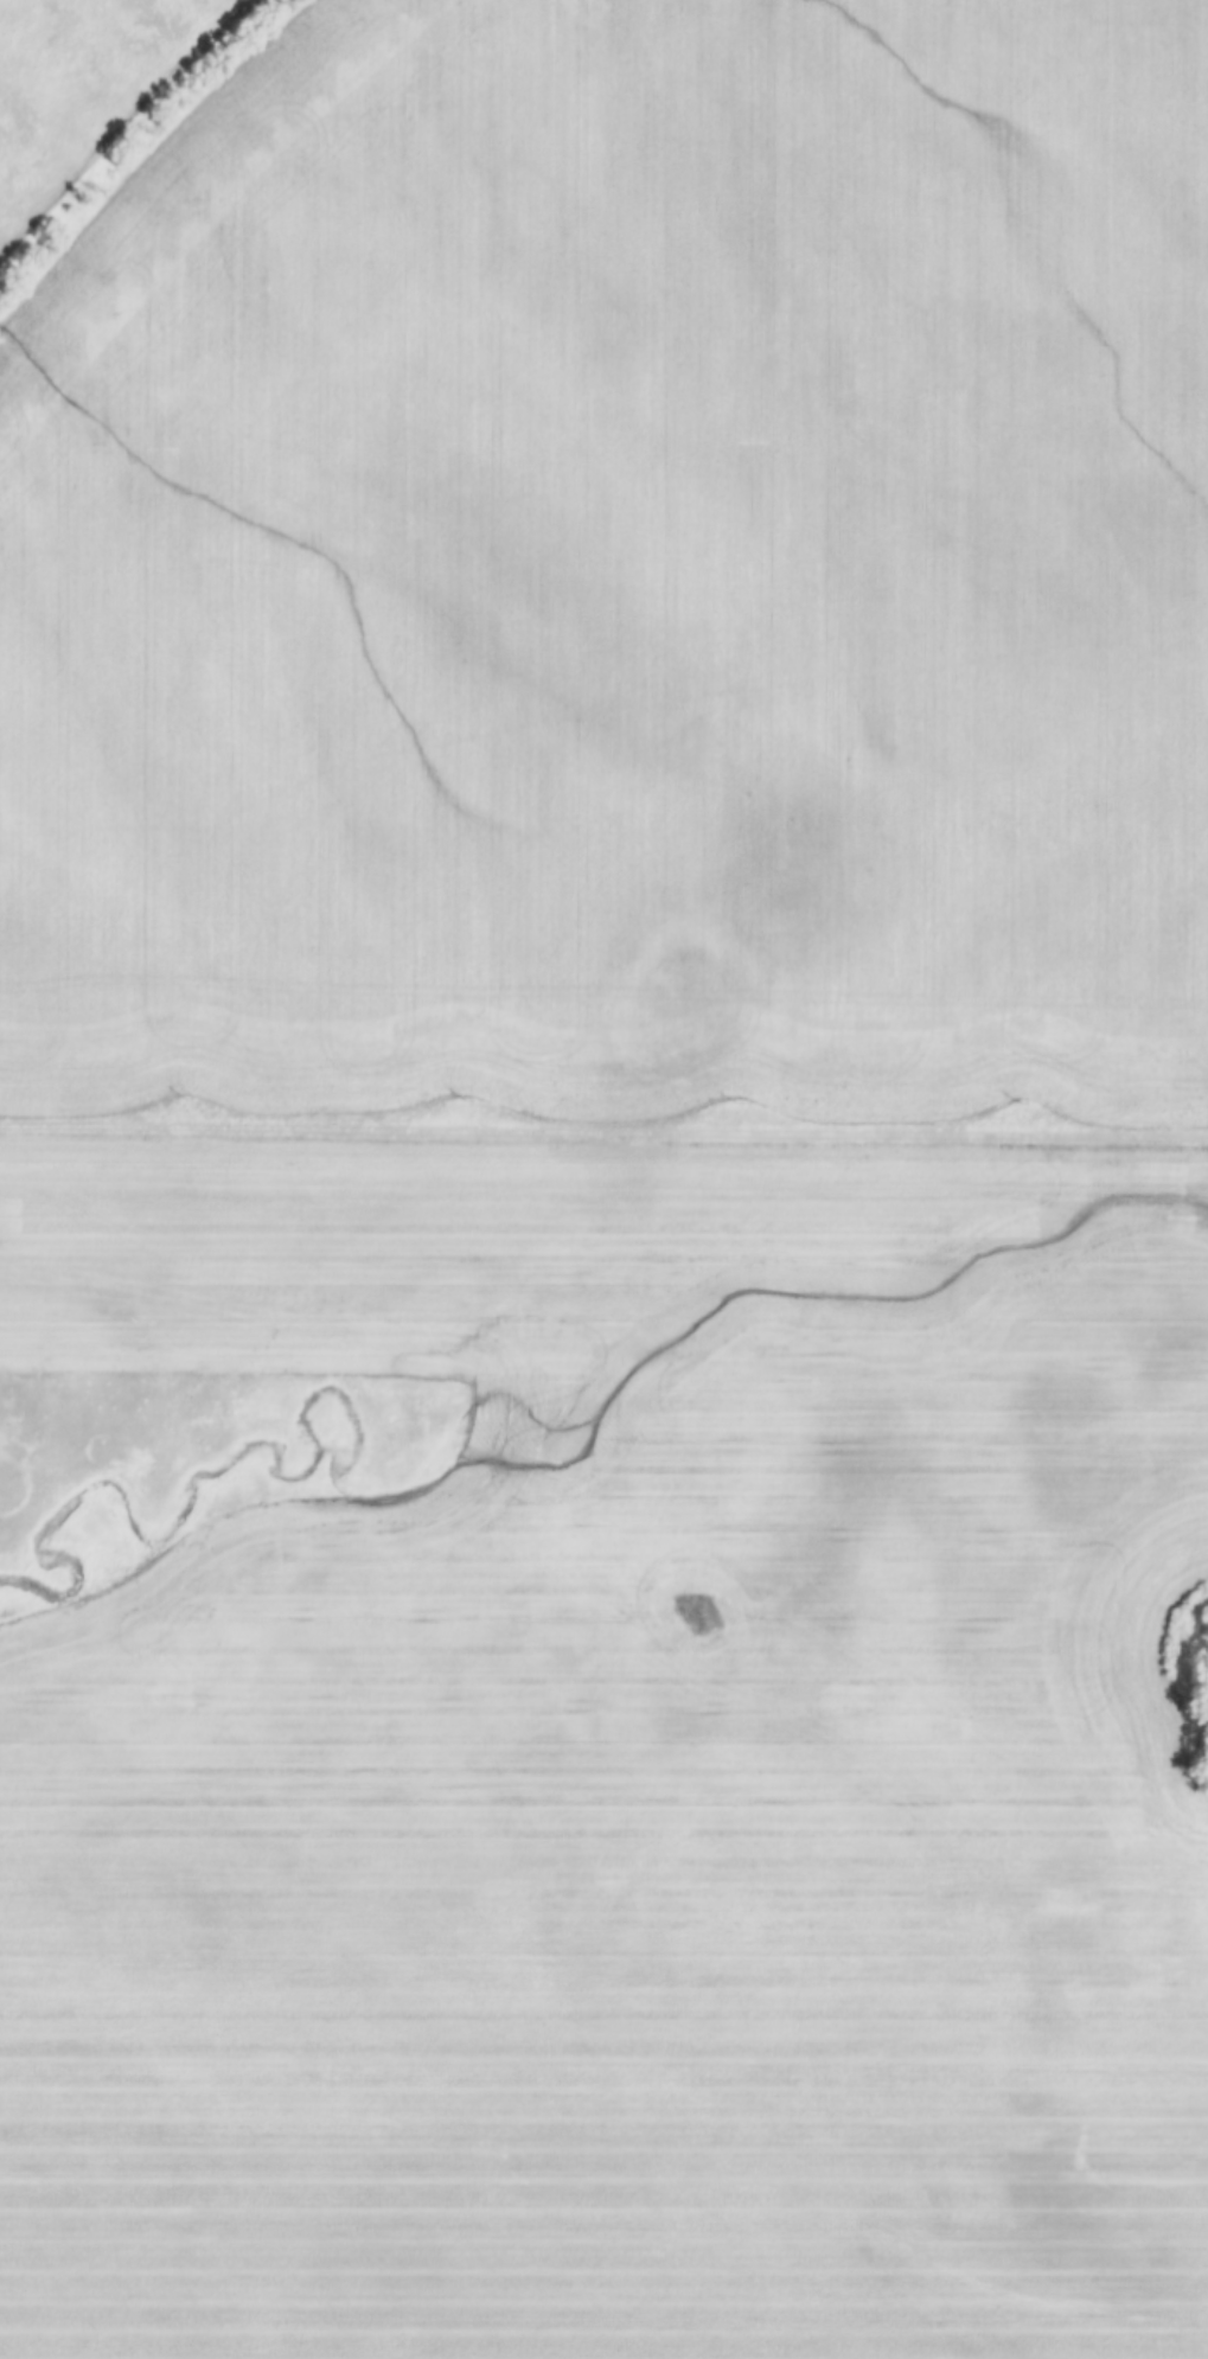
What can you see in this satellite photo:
road: (603, 1130)

